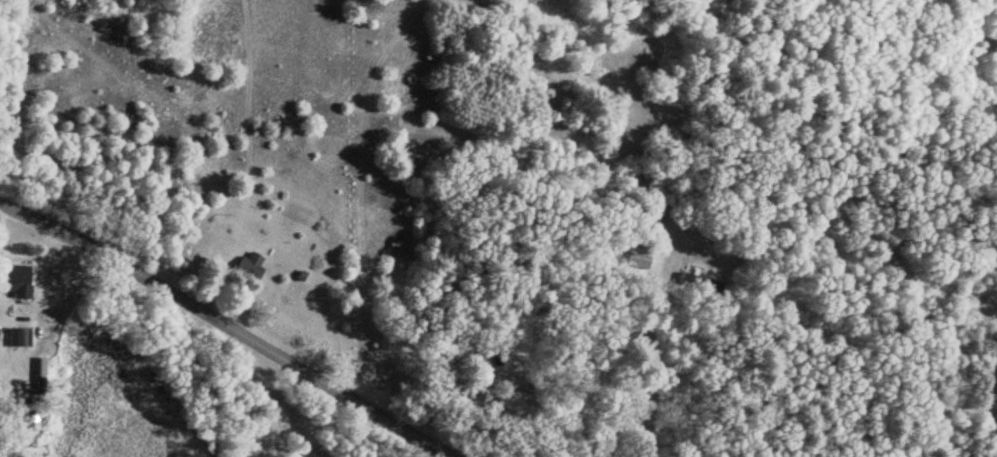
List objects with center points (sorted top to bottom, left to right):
road: (229, 328)

